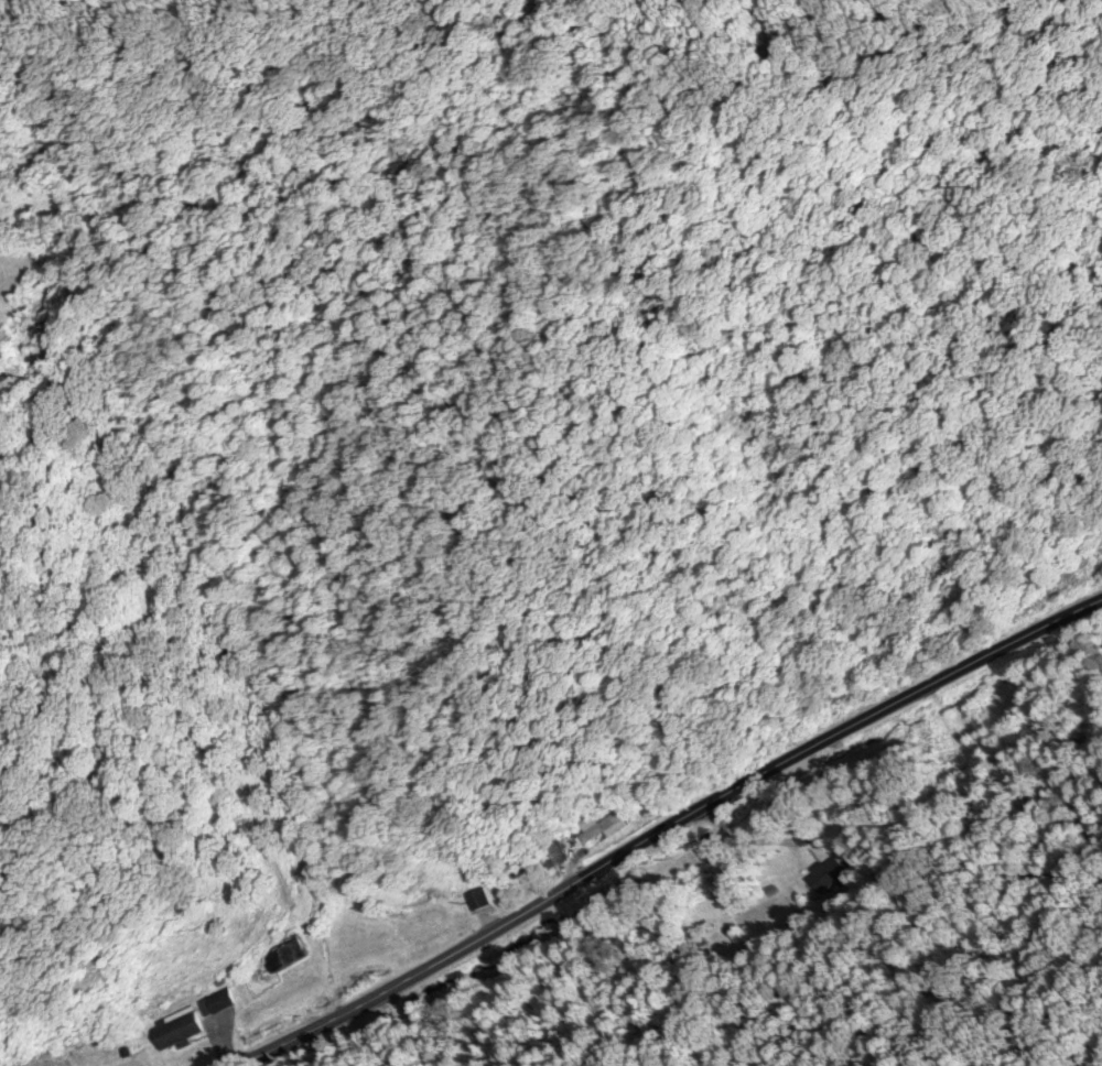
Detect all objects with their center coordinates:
building: (975, 721)
building: (603, 826)
building: (806, 837)
road: (648, 840)
building: (559, 851)
building: (825, 873)
building: (480, 898)
building: (429, 917)
building: (288, 956)
building: (220, 999)
building: (180, 1031)

